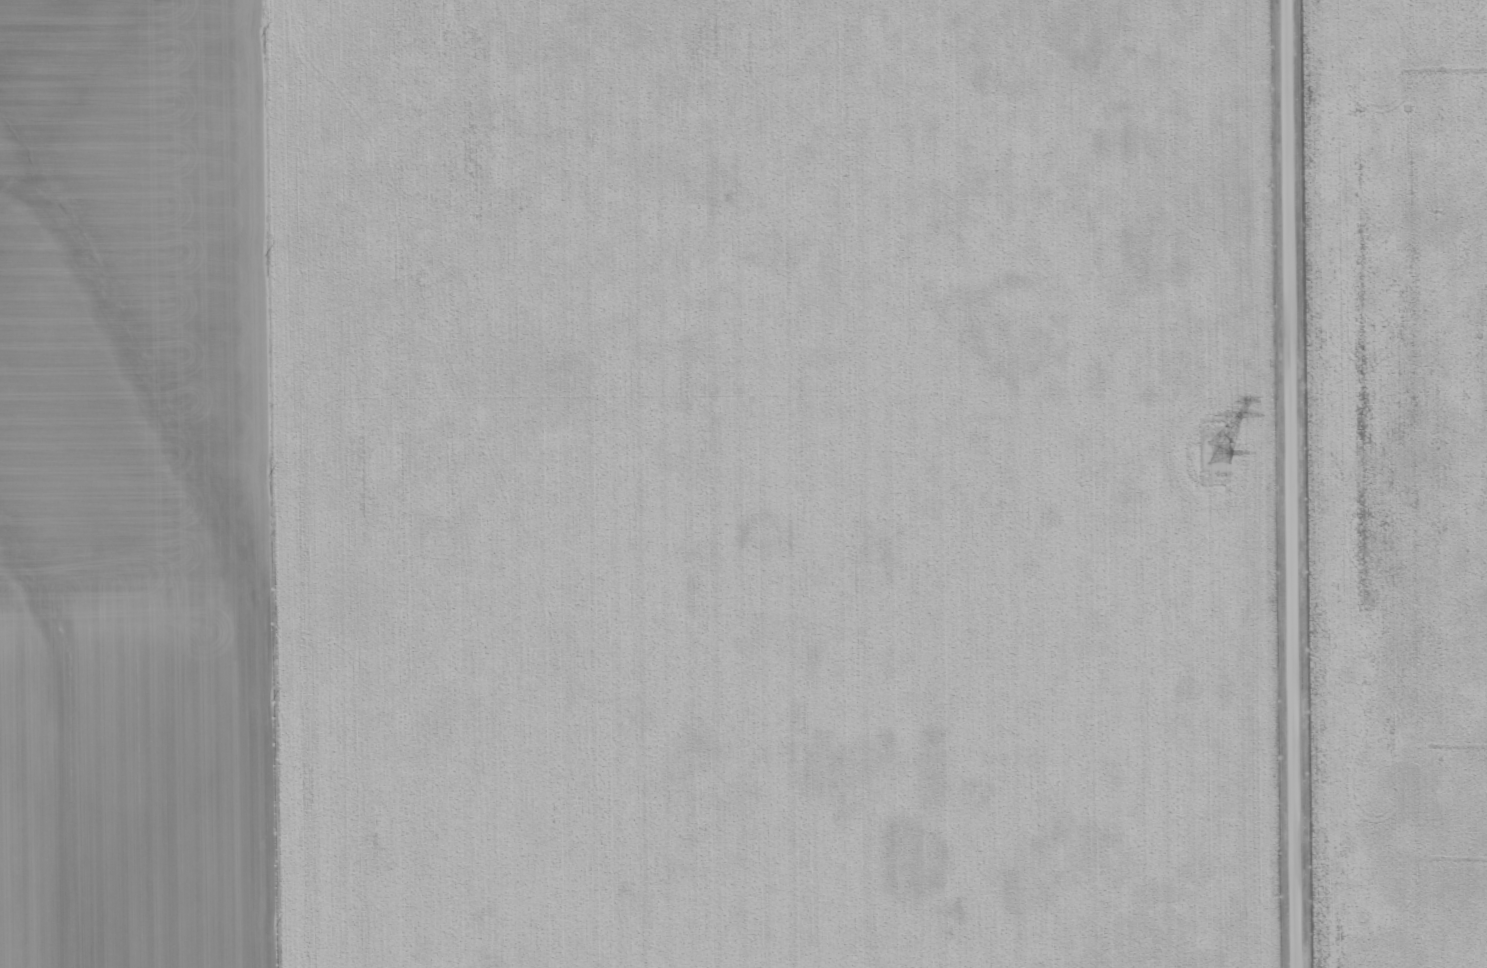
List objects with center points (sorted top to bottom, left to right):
power tower: (1217, 452)
road: (1295, 484)

